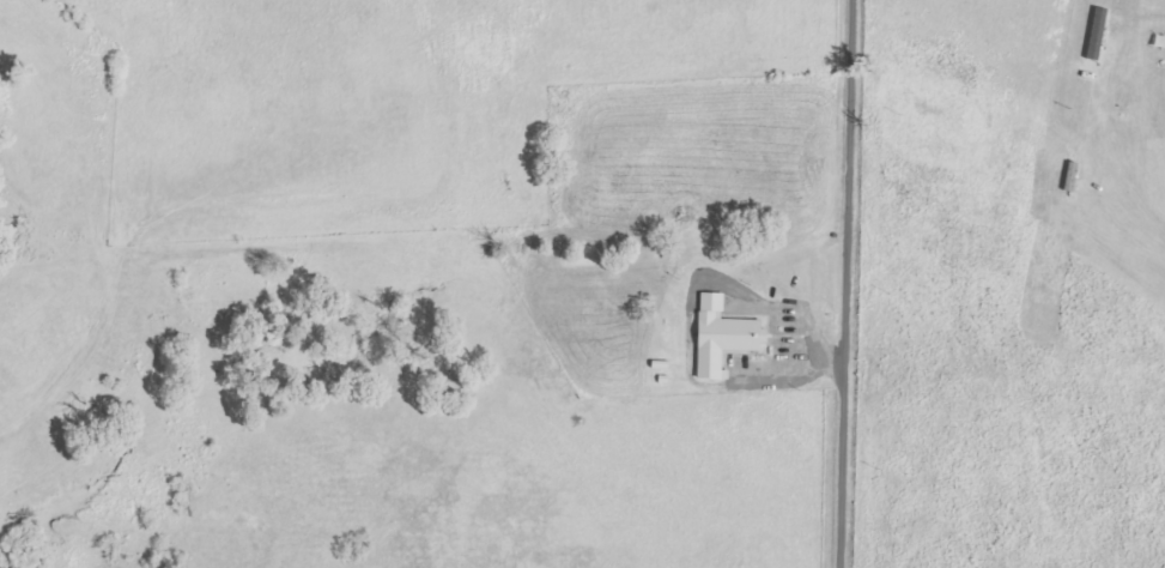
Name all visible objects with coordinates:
building: (1098, 34)
road: (843, 284)
building: (724, 336)
road: (84, 363)

